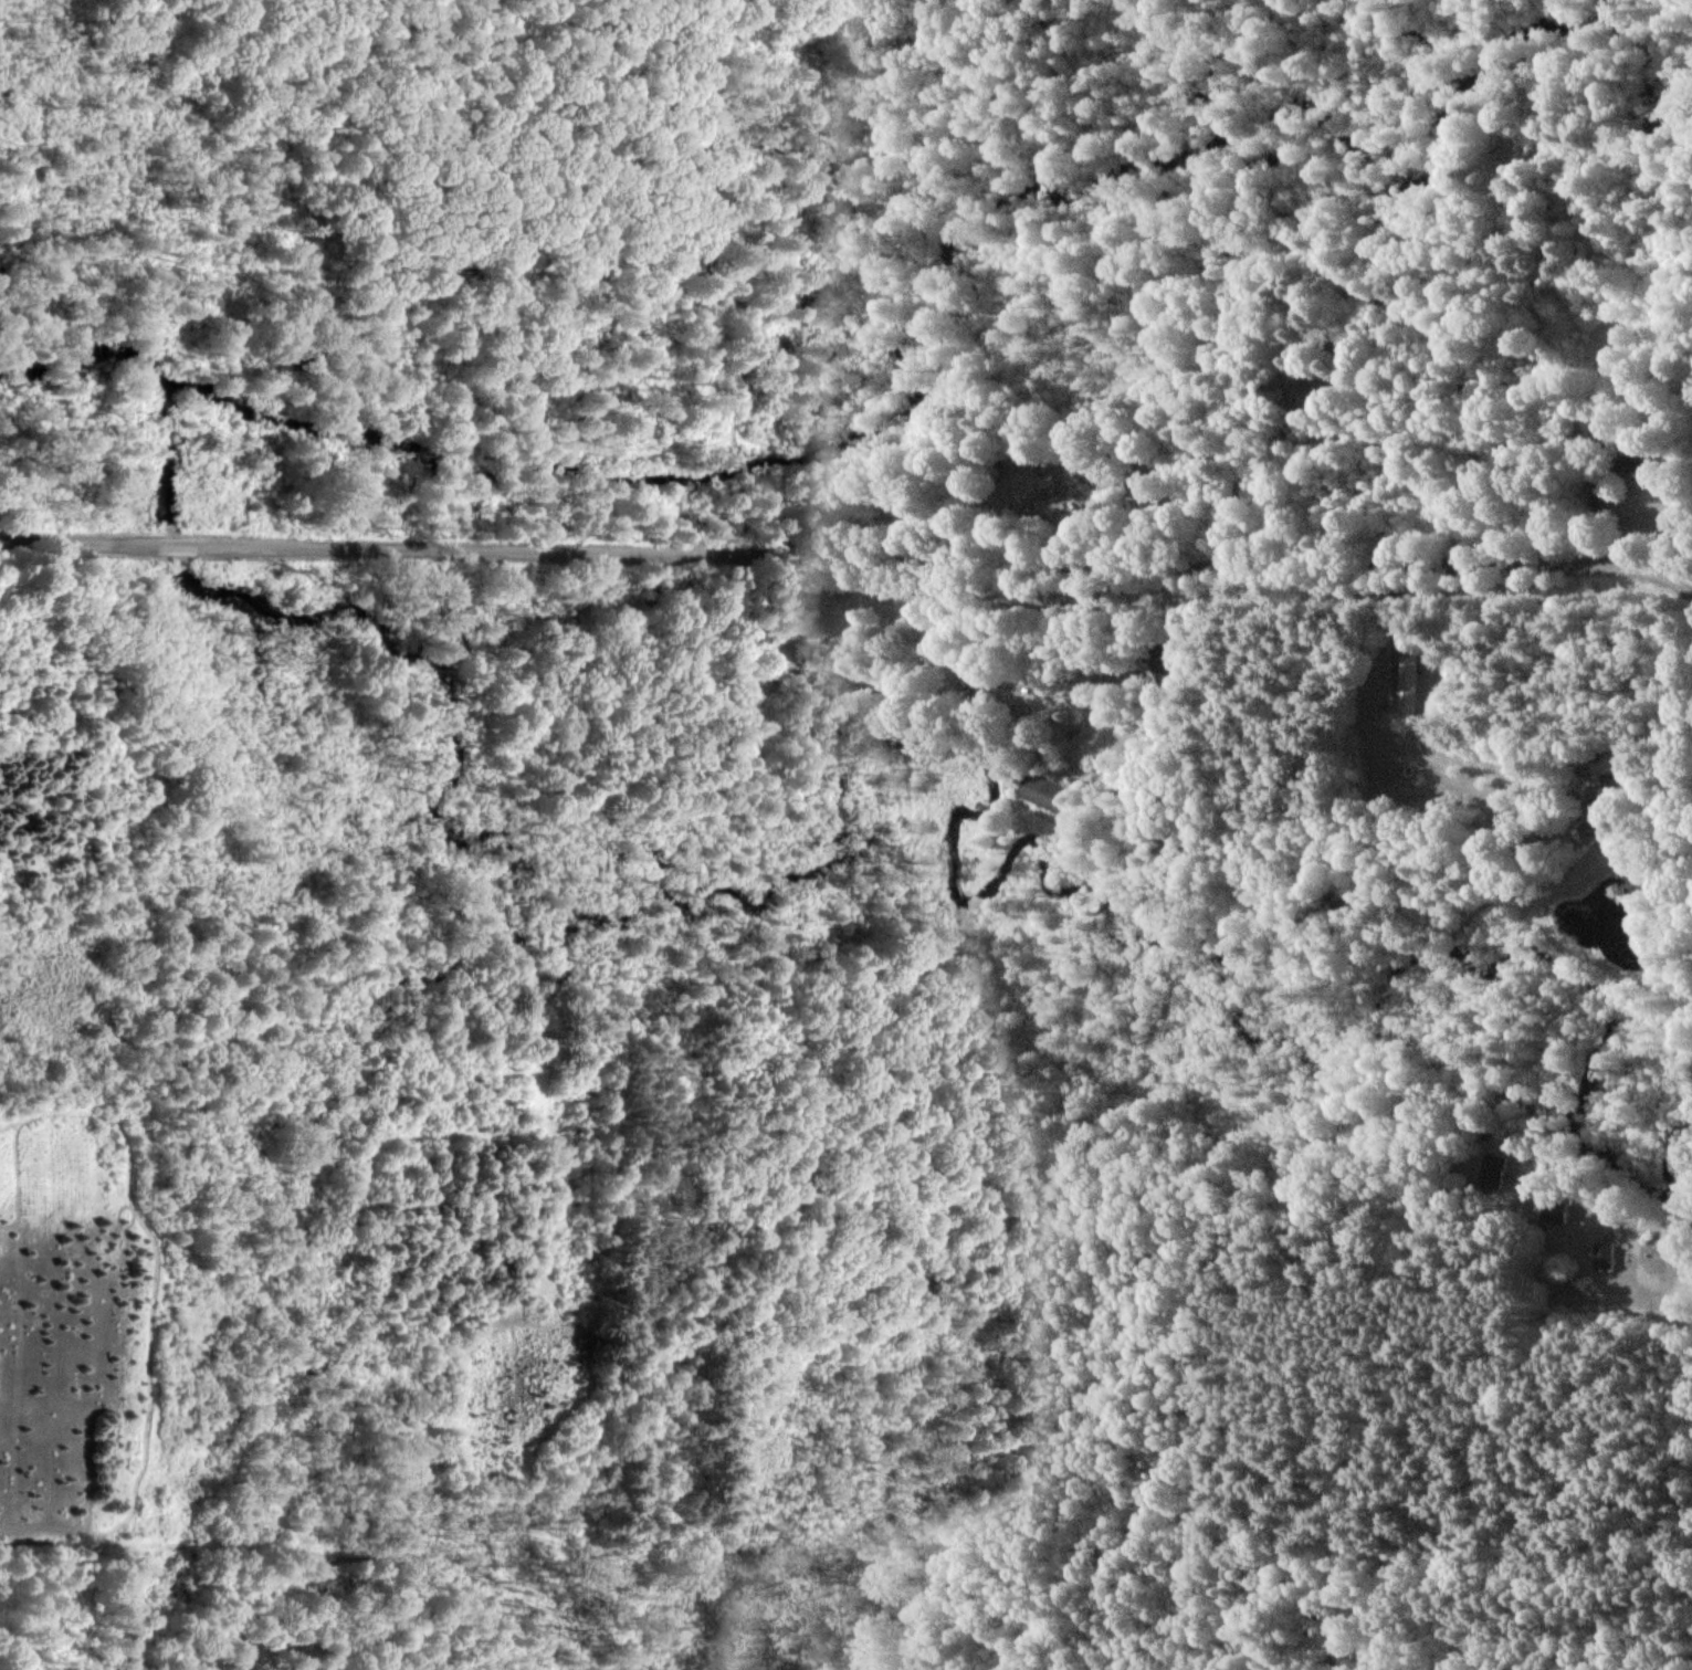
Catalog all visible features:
building: (1628, 465)
building: (1049, 492)
road: (1680, 513)
road: (845, 560)
road: (1395, 642)
building: (1165, 659)
building: (1409, 686)
road: (1100, 718)
building: (1605, 762)
building: (1040, 792)
building: (1589, 830)
building: (1492, 1170)
road: (1566, 1197)
building: (1600, 1254)

